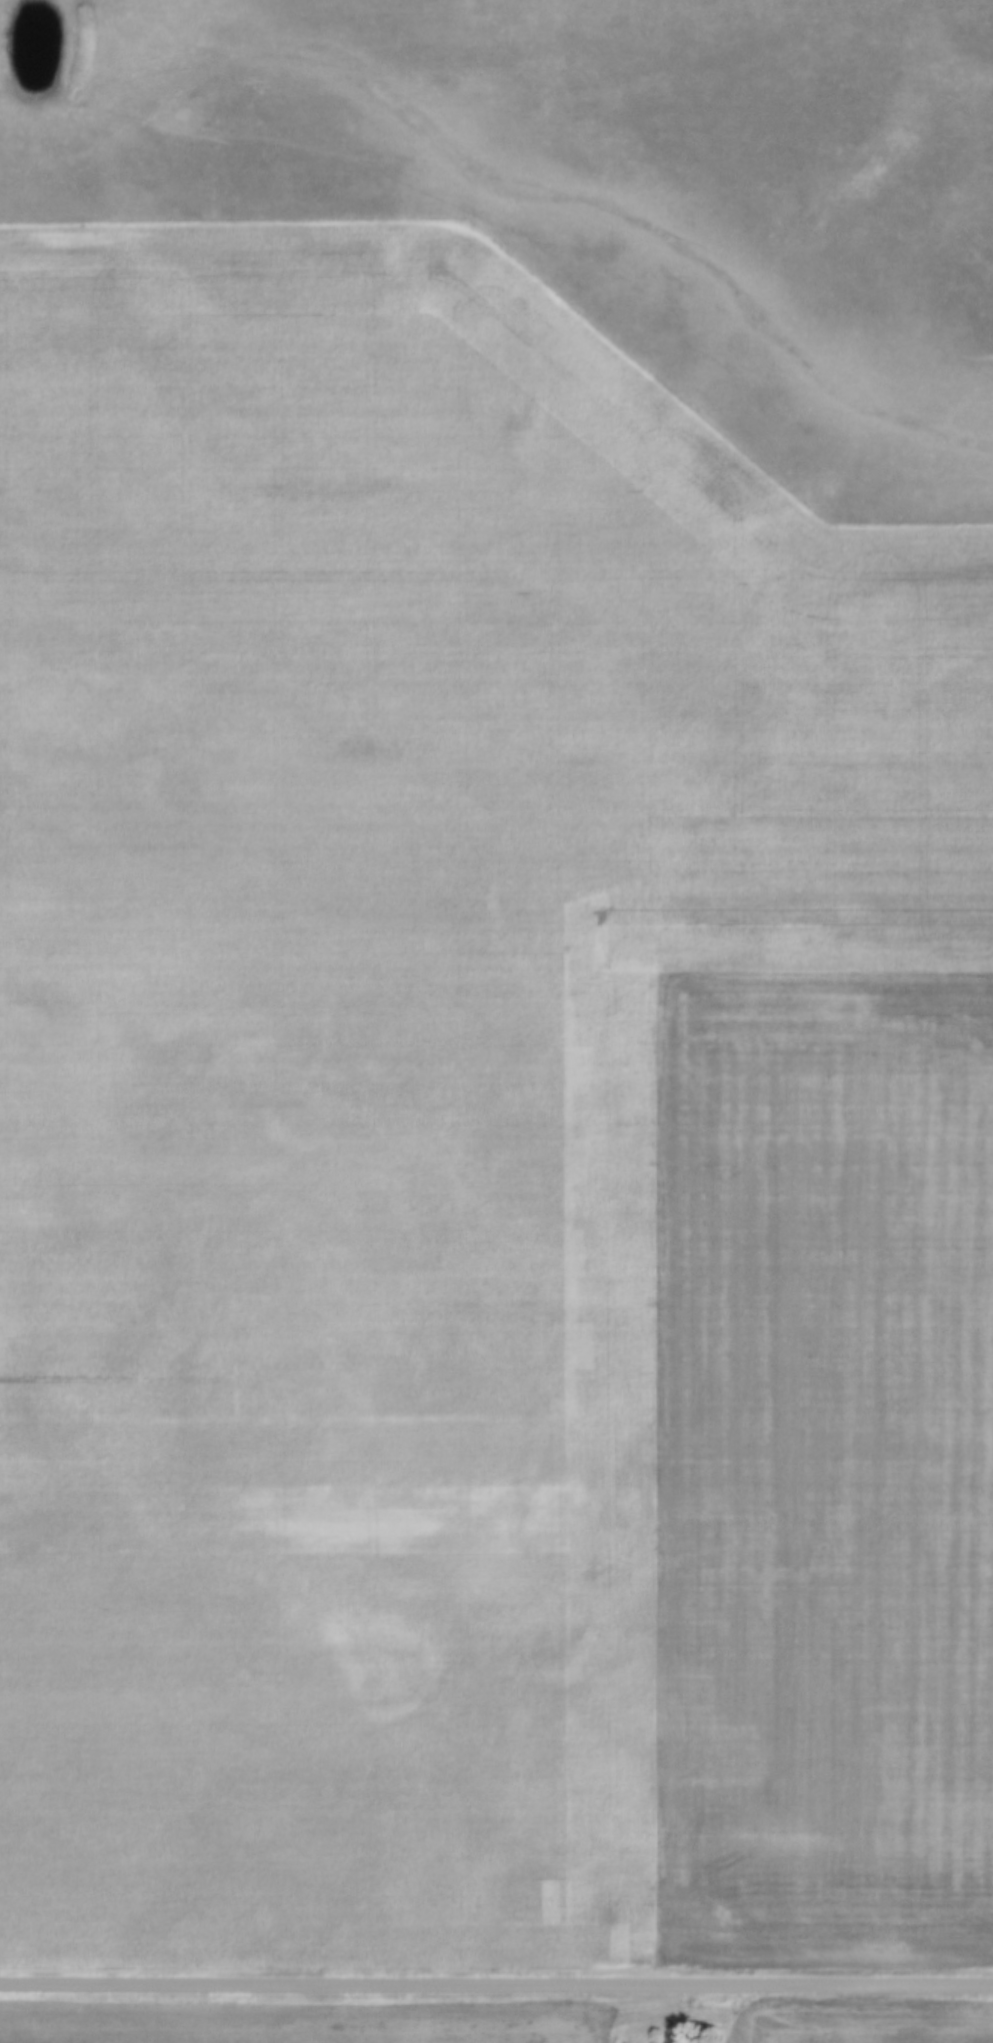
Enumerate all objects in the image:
road: (496, 1982)

